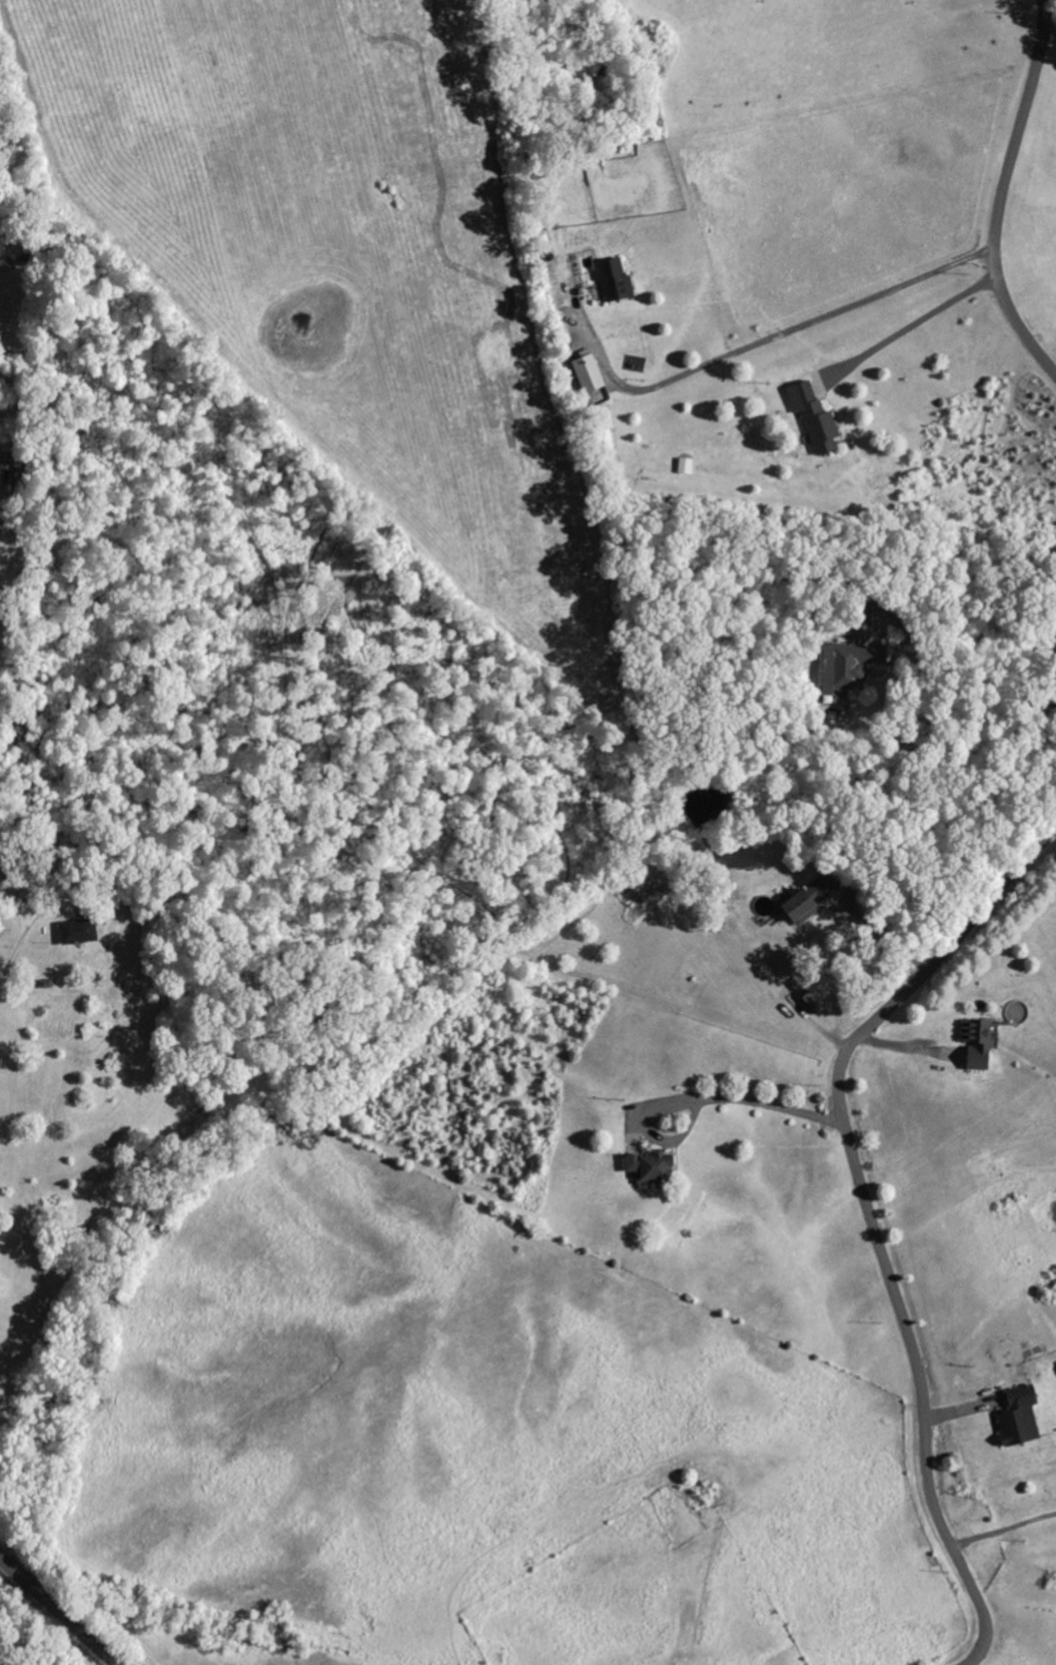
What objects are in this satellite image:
road: (1006, 192)
building: (617, 281)
road: (806, 325)
road: (913, 326)
building: (591, 373)
building: (816, 418)
building: (9, 461)
building: (686, 466)
building: (859, 649)
building: (812, 900)
building: (80, 933)
building: (816, 1004)
building: (979, 1044)
building: (653, 1168)
road: (871, 1216)
building: (1021, 1417)
road: (59, 1611)

